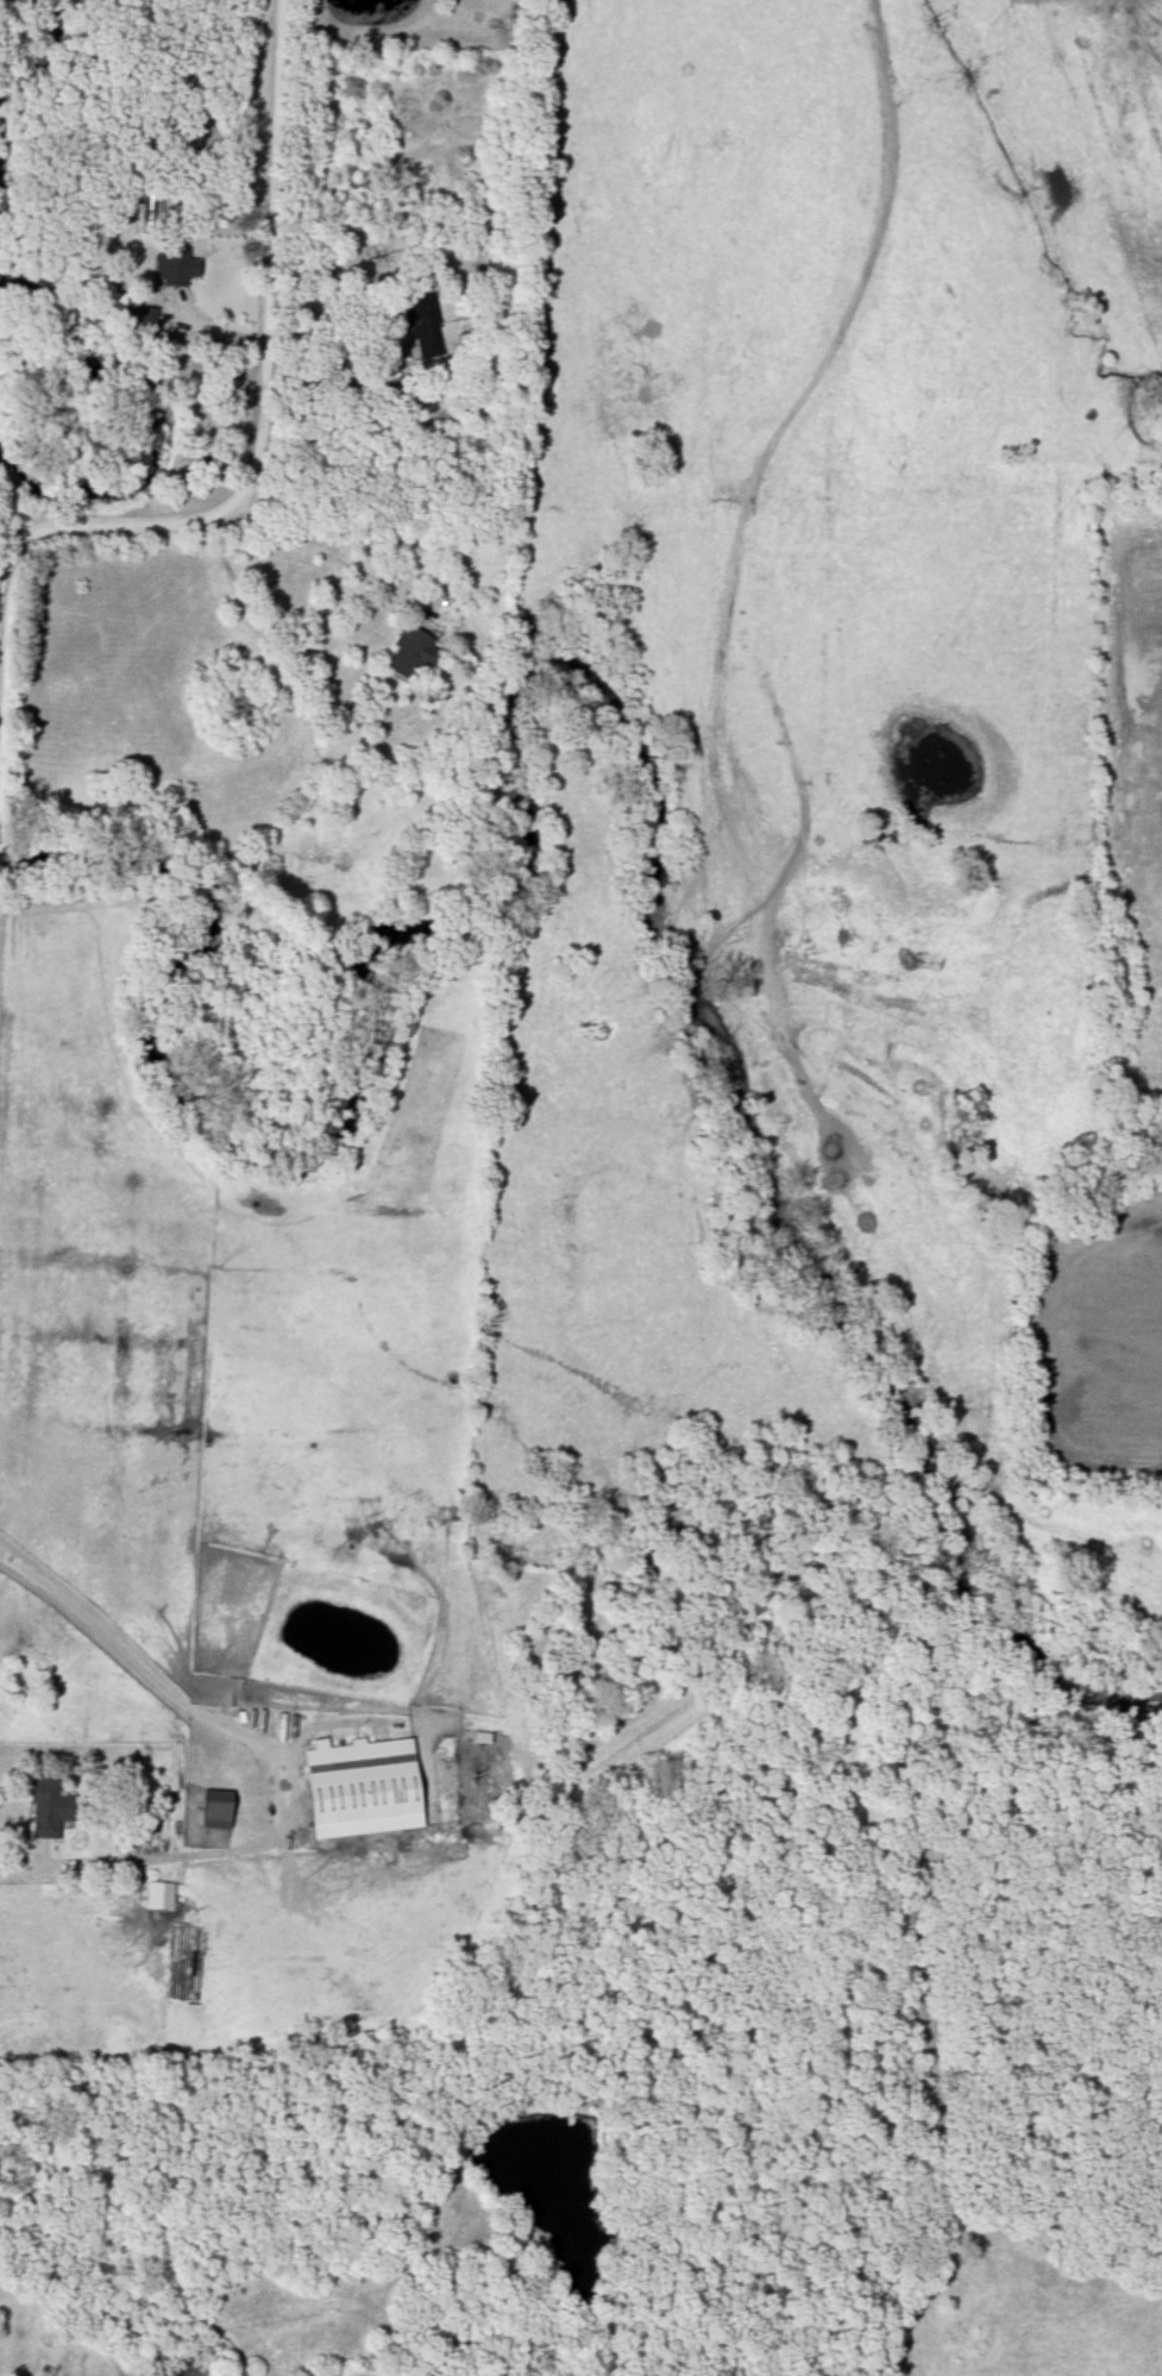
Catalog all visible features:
building: (176, 268)
road: (260, 383)
road: (322, 402)
building: (432, 415)
road: (324, 546)
building: (414, 653)
road: (276, 1762)
building: (365, 1787)
building: (50, 1810)
building: (220, 1810)
building: (144, 1819)
building: (161, 1895)

